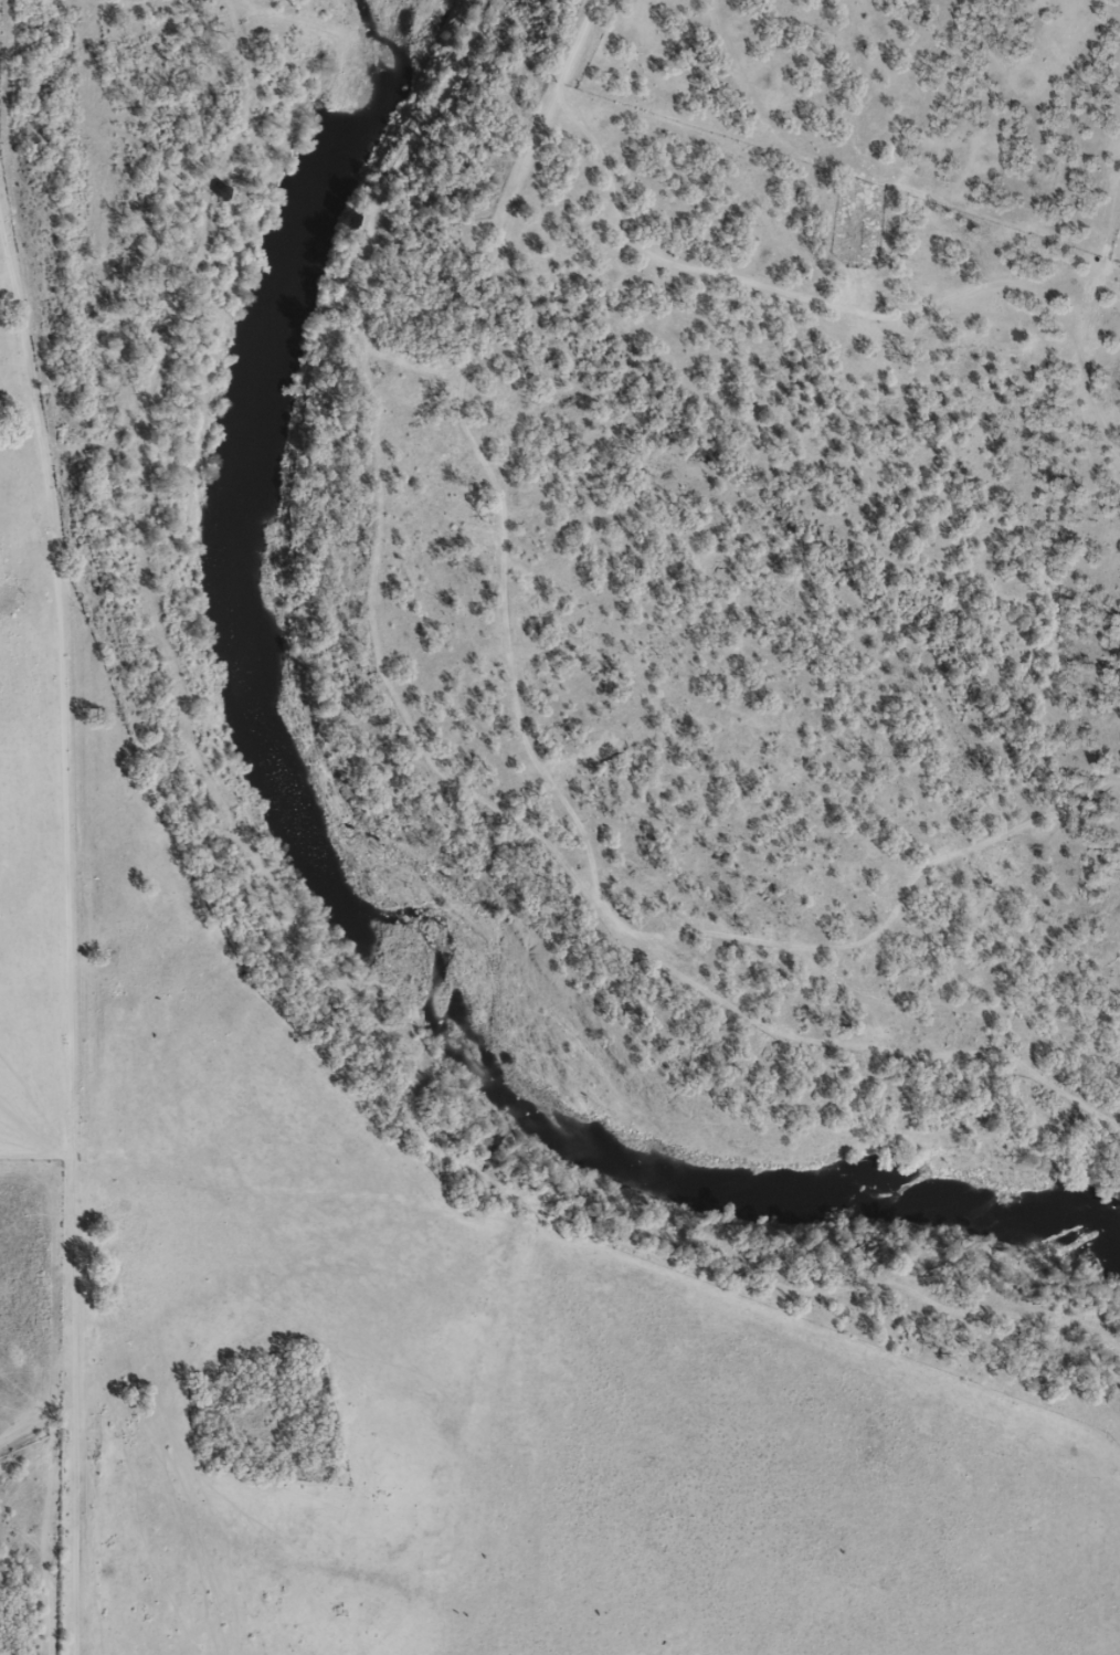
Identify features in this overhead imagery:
road: (742, 160)
river: (344, 874)
road: (71, 1197)
park: (265, 1406)

